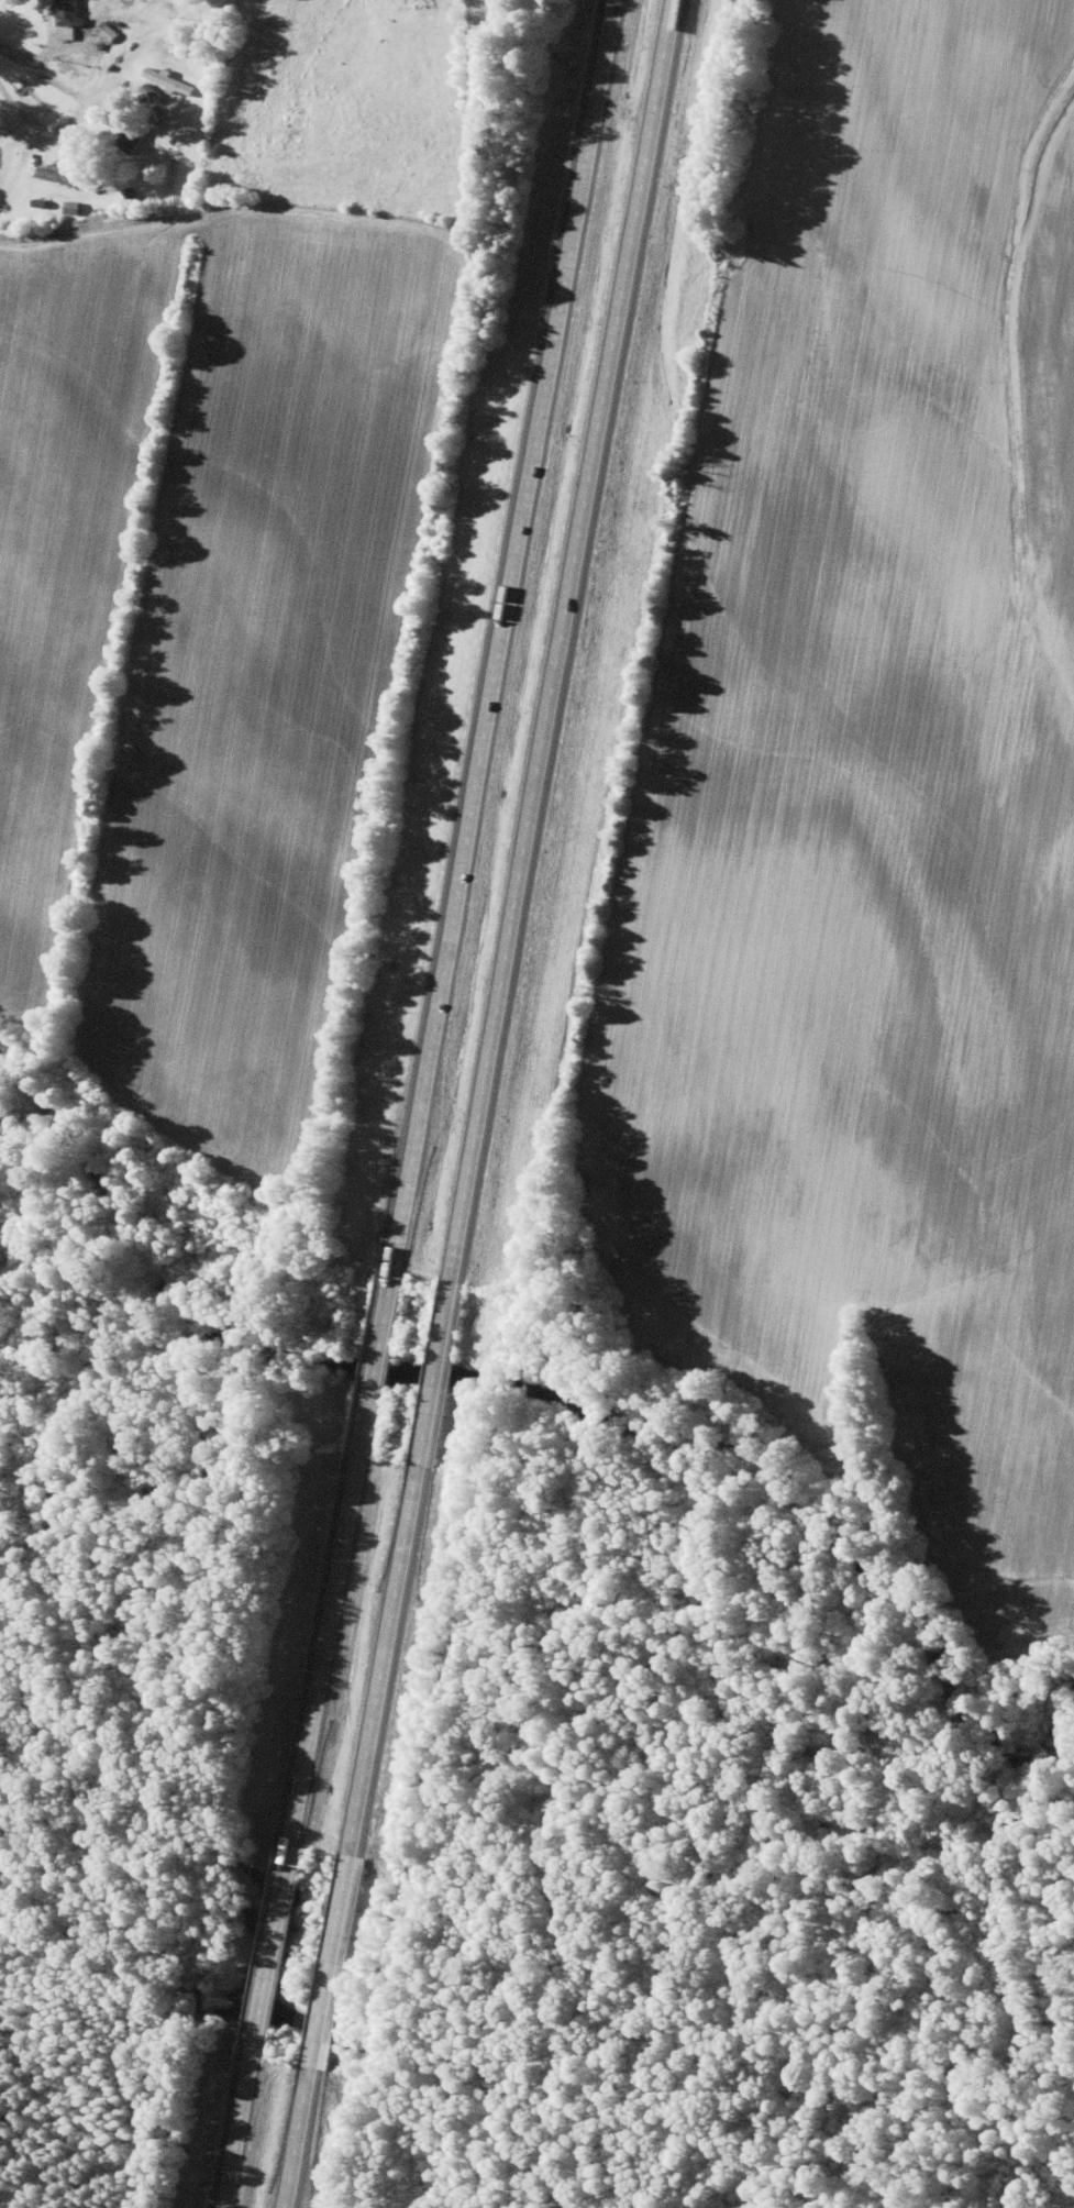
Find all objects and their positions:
building: (416, 3)
building: (65, 12)
building: (102, 32)
building: (129, 135)
building: (68, 207)
road: (36, 271)
road: (450, 923)
road: (509, 926)
road: (274, 1951)
road: (332, 1959)
road: (241, 2132)
road: (302, 2137)

